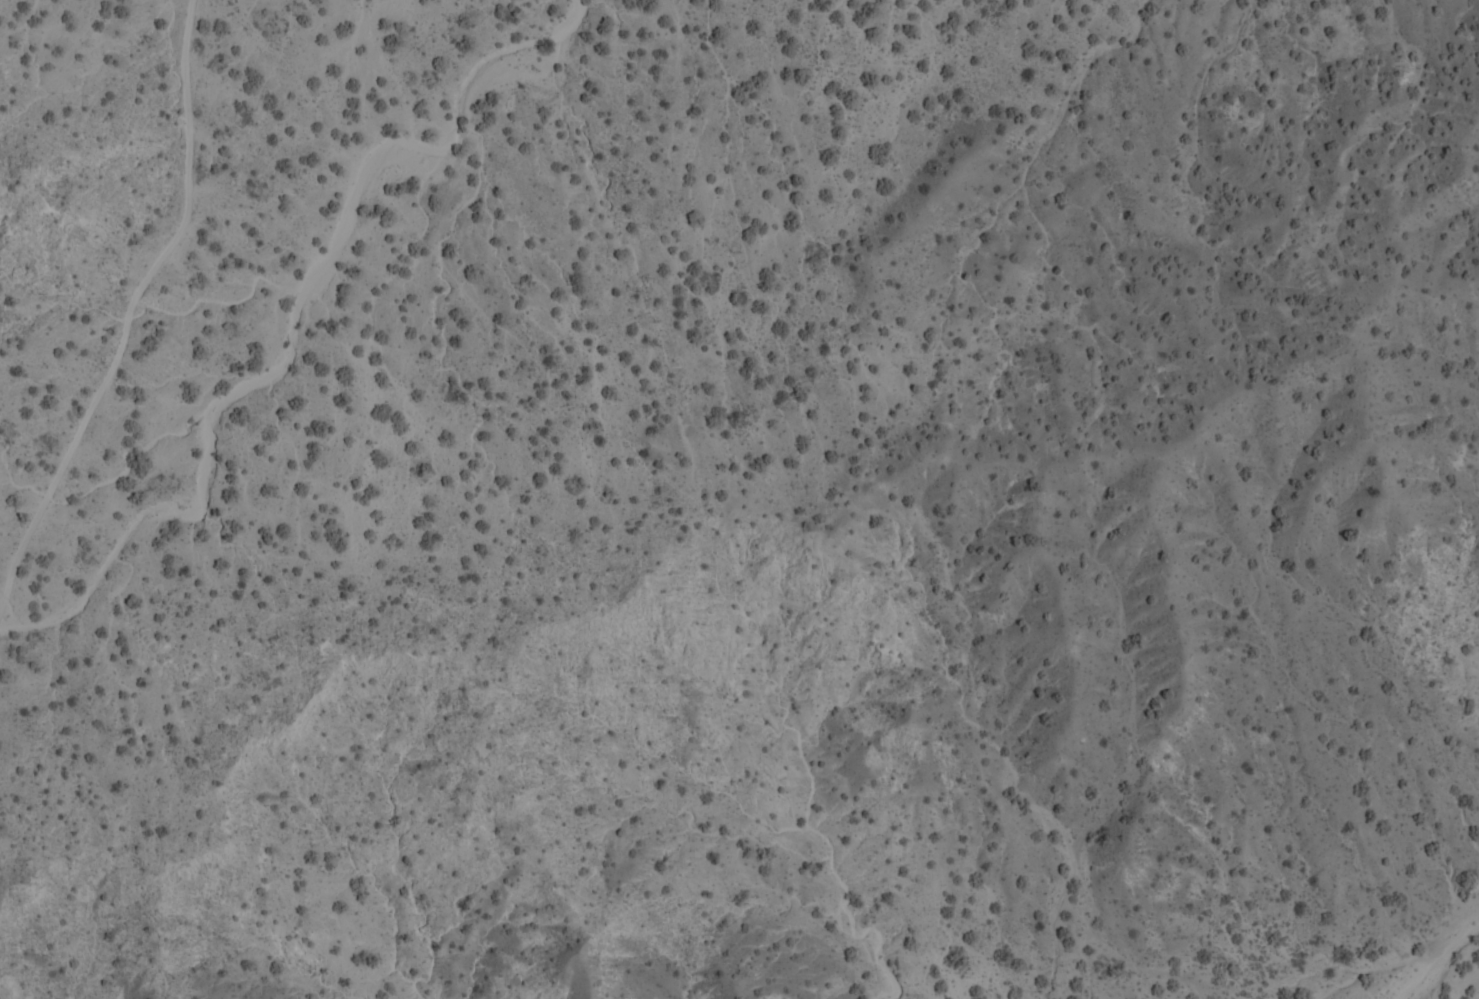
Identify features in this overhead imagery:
road: (131, 309)

